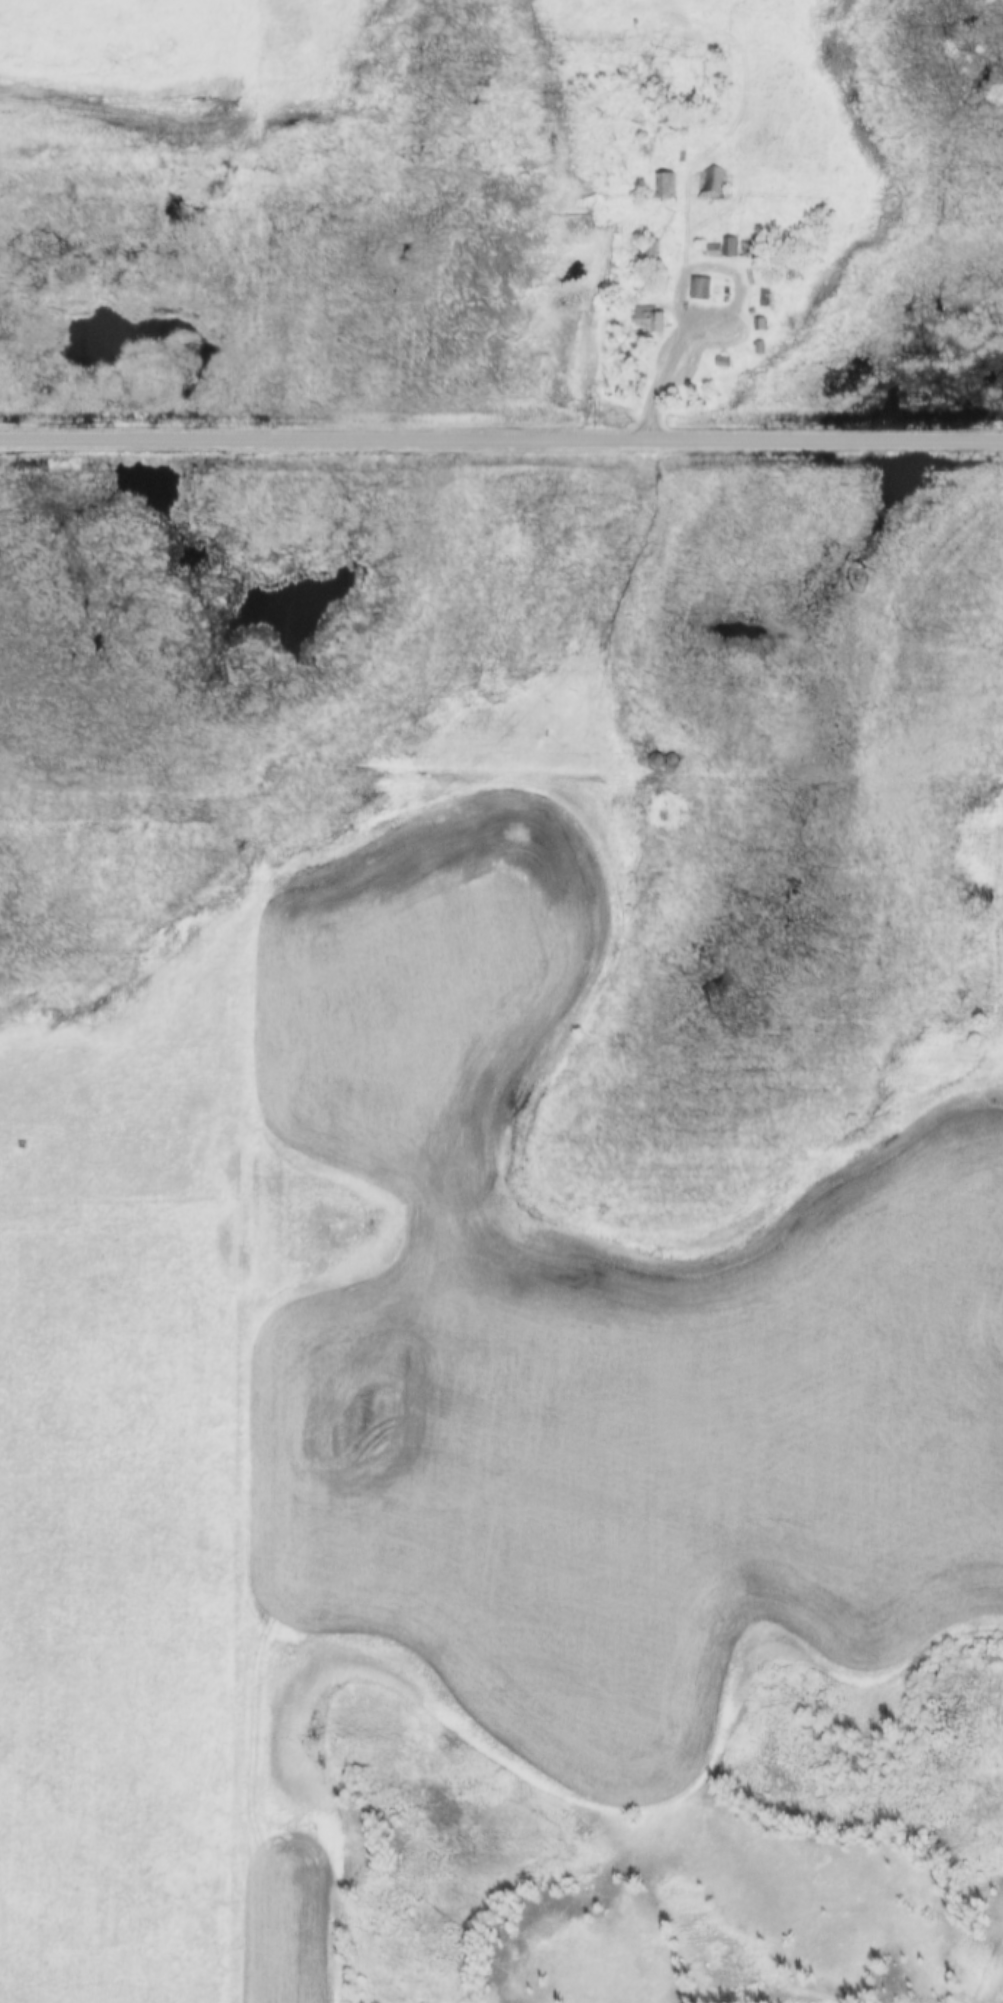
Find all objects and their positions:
building: (667, 187)
building: (711, 187)
building: (731, 249)
building: (751, 250)
building: (701, 289)
building: (766, 299)
building: (653, 321)
building: (760, 326)
road: (675, 348)
building: (723, 363)
road: (501, 440)

